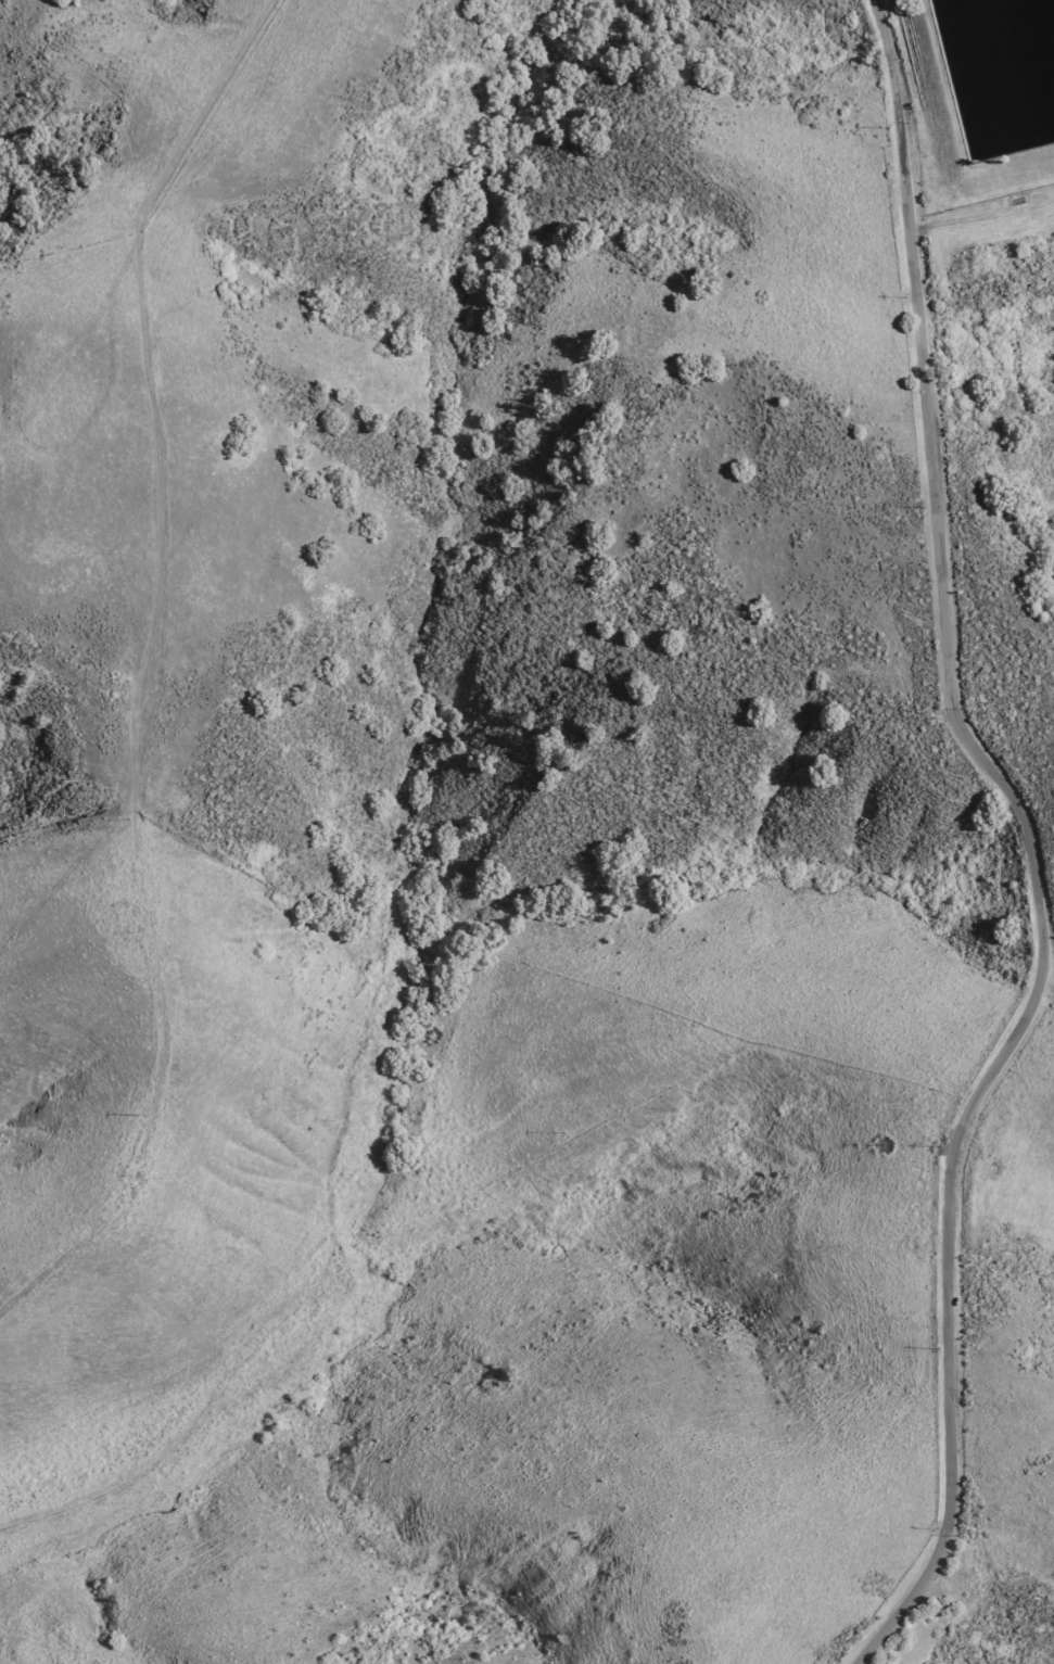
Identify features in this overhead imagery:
road: (980, 216)
road: (1029, 843)

